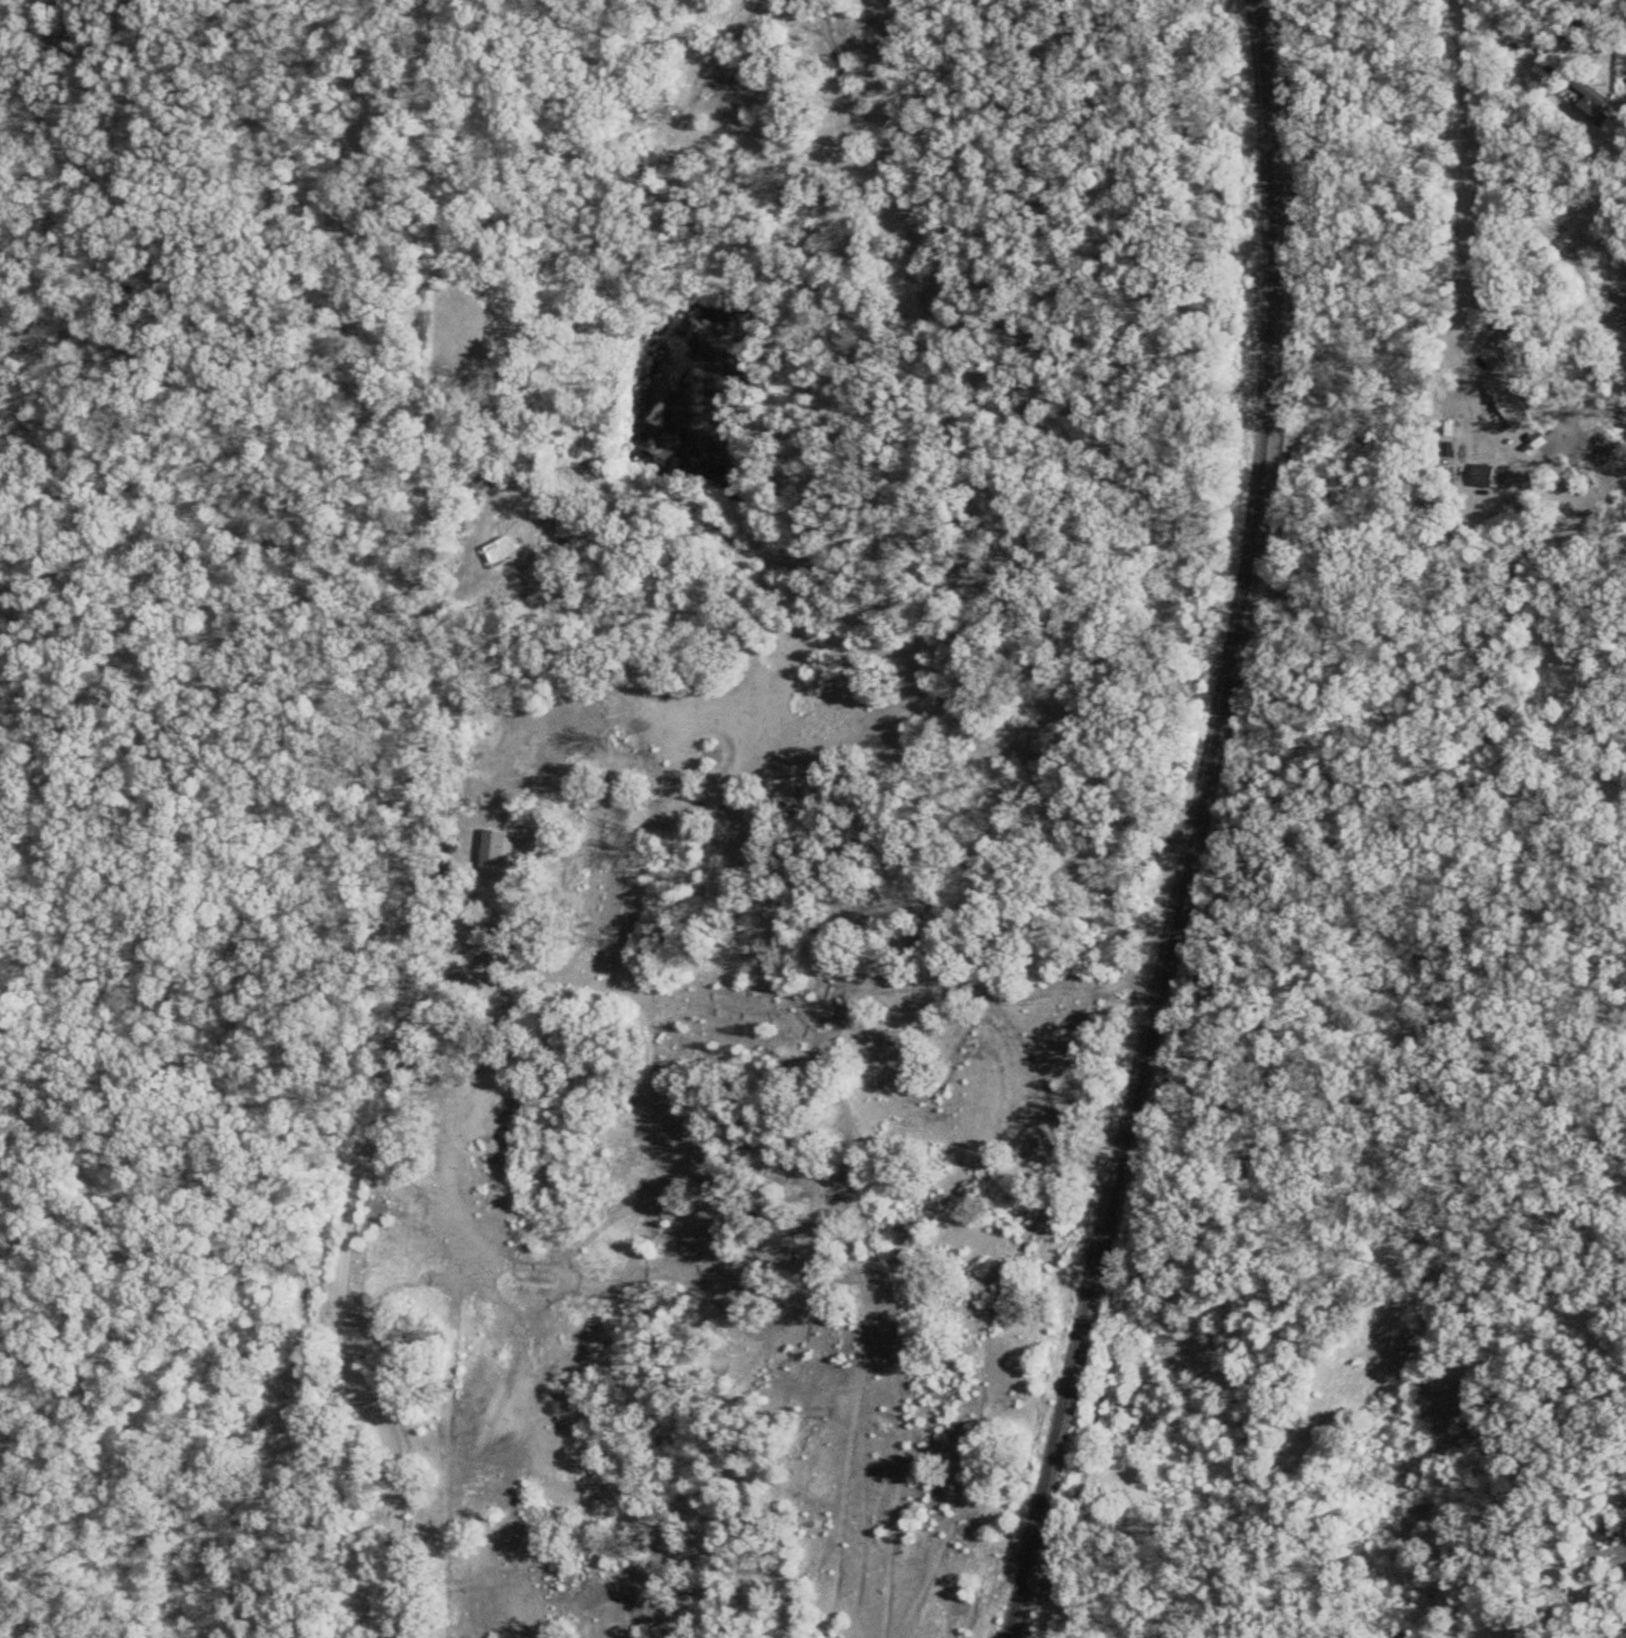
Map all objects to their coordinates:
road: (1559, 32)
building: (1557, 58)
building: (1591, 103)
road: (1466, 218)
road: (166, 366)
building: (1508, 401)
building: (1481, 475)
road: (396, 823)
railway: (1191, 827)
road: (153, 1339)

